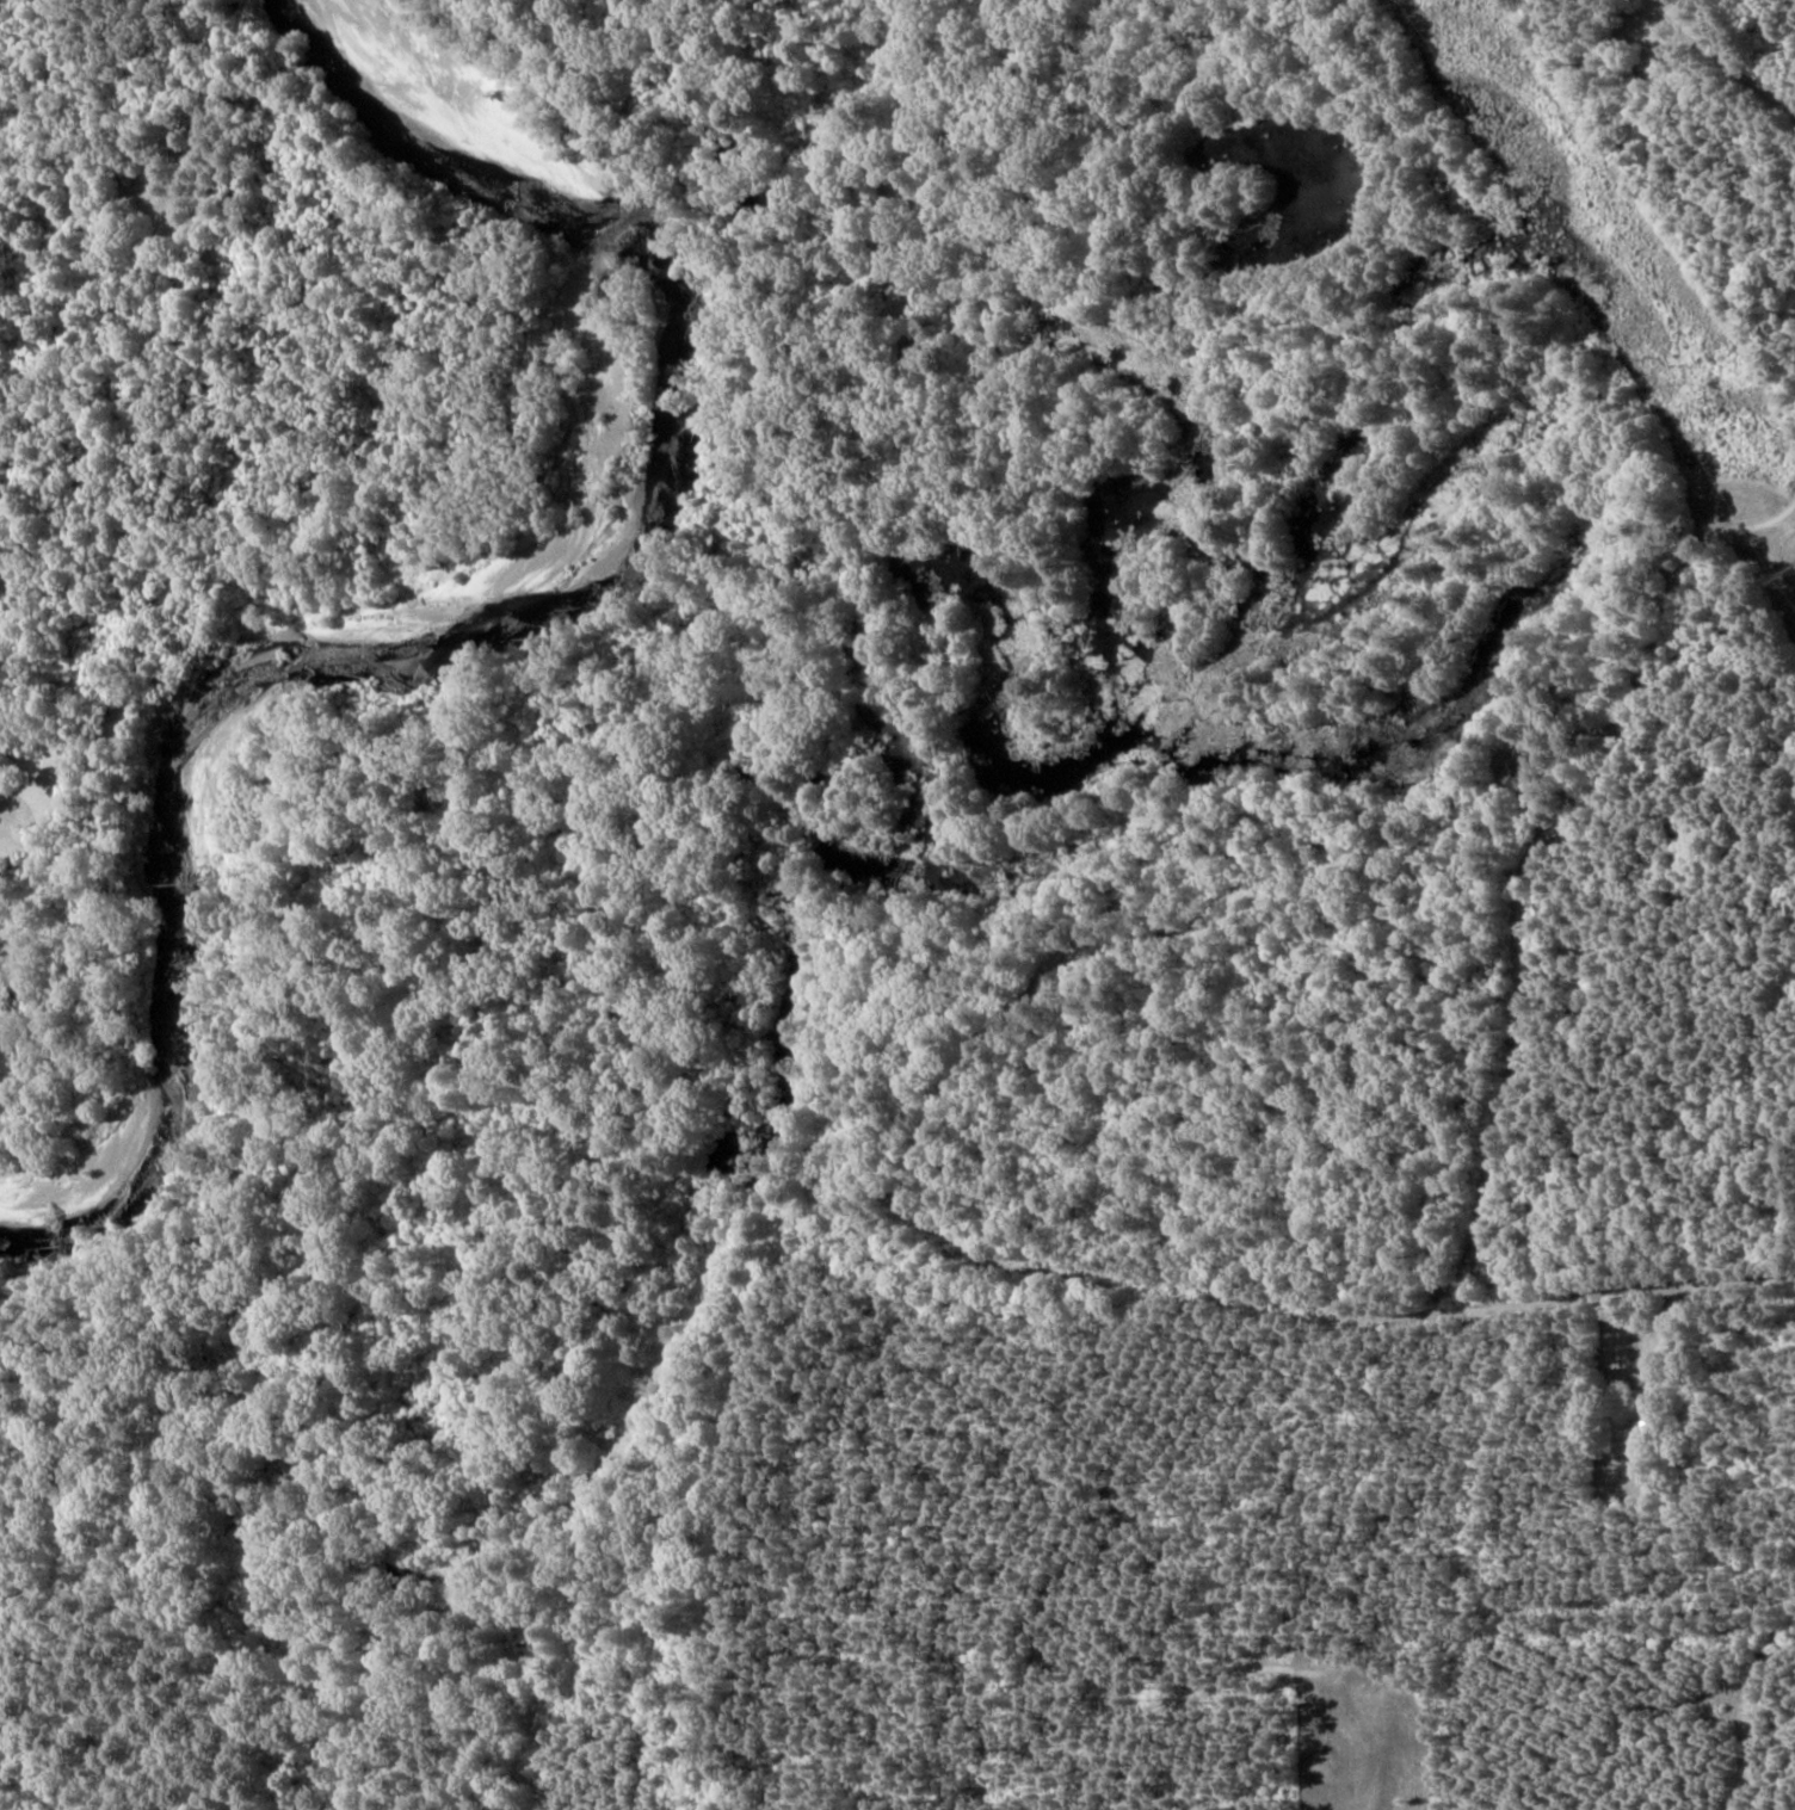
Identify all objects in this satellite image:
road: (535, 333)
road: (1221, 496)

